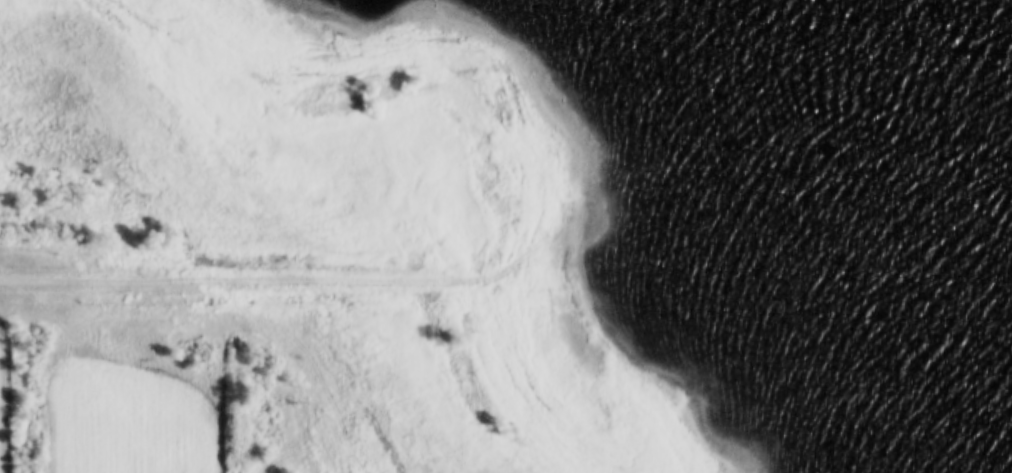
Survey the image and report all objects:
road: (242, 248)
road: (118, 280)

